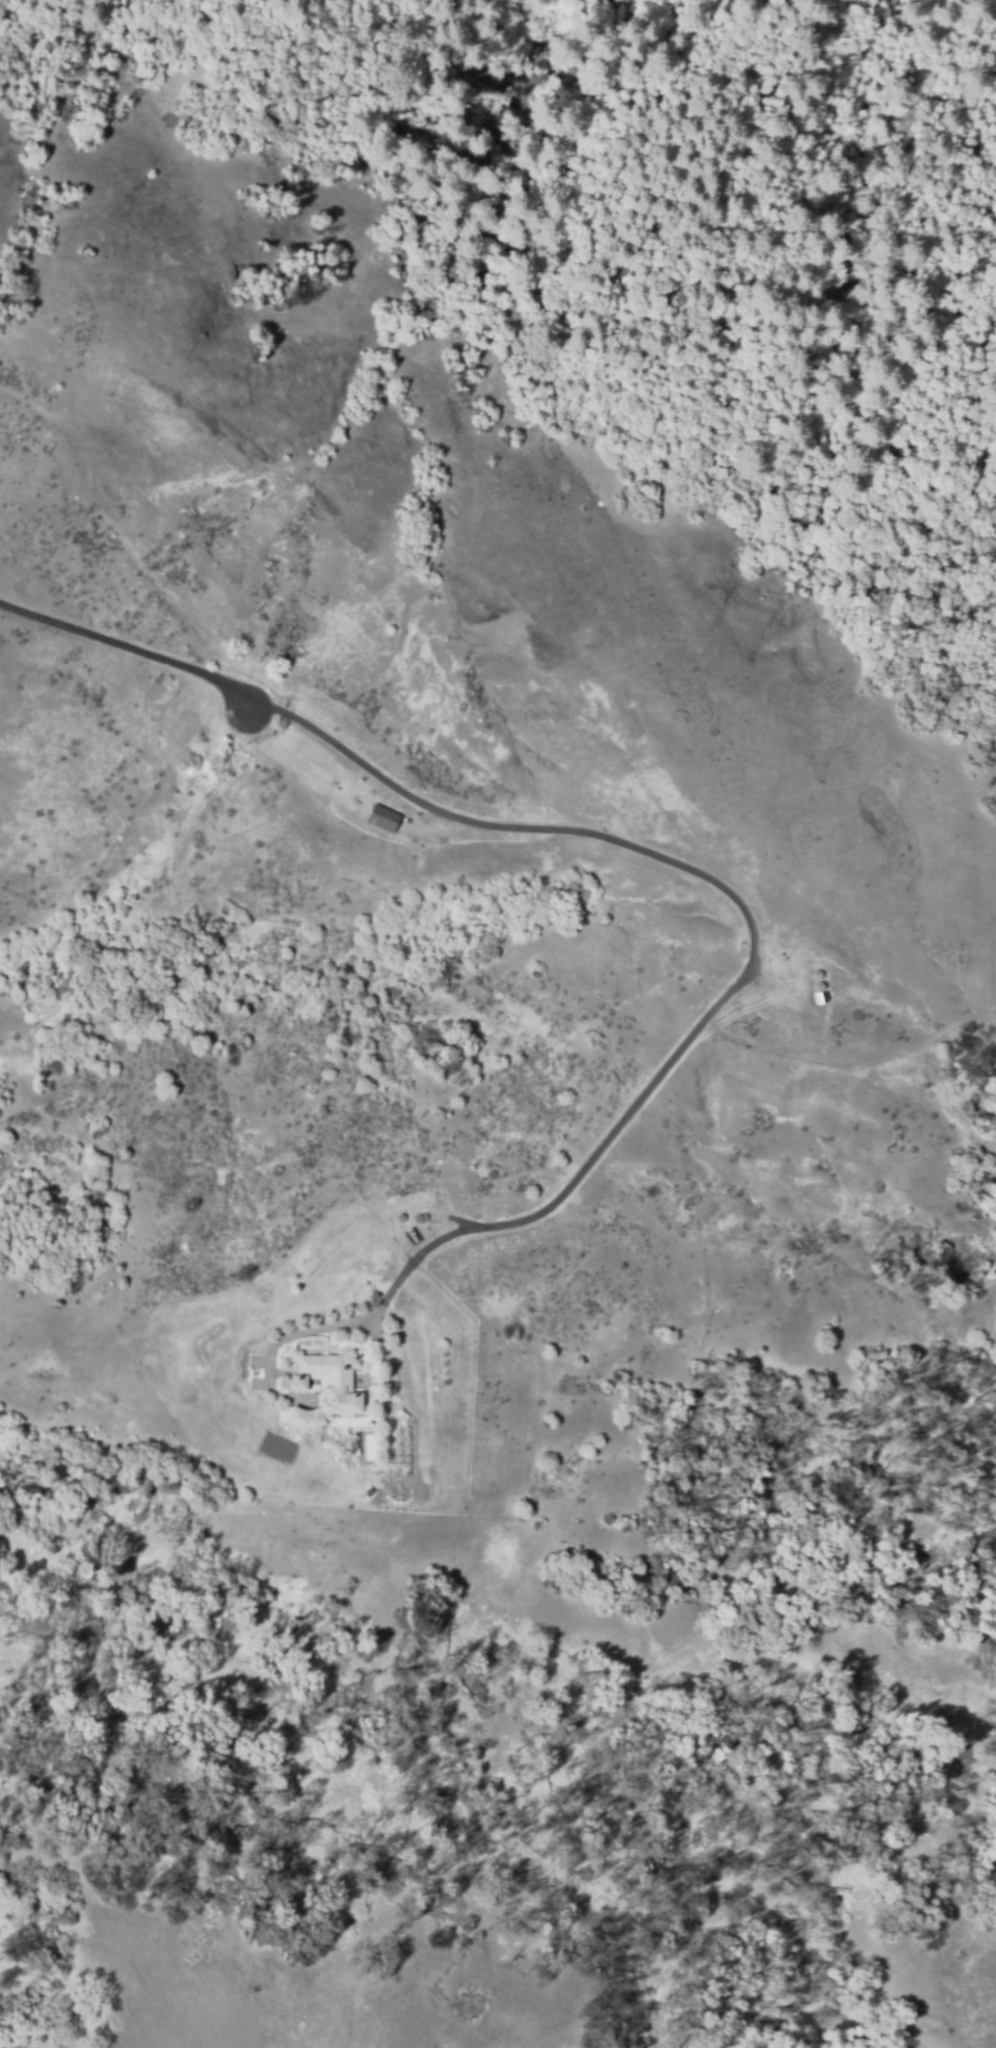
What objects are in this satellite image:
road: (394, 787)
building: (376, 818)
building: (816, 974)
building: (818, 985)
building: (820, 997)
road: (577, 1175)
building: (400, 1216)
building: (424, 1216)
building: (417, 1218)
building: (325, 1388)

